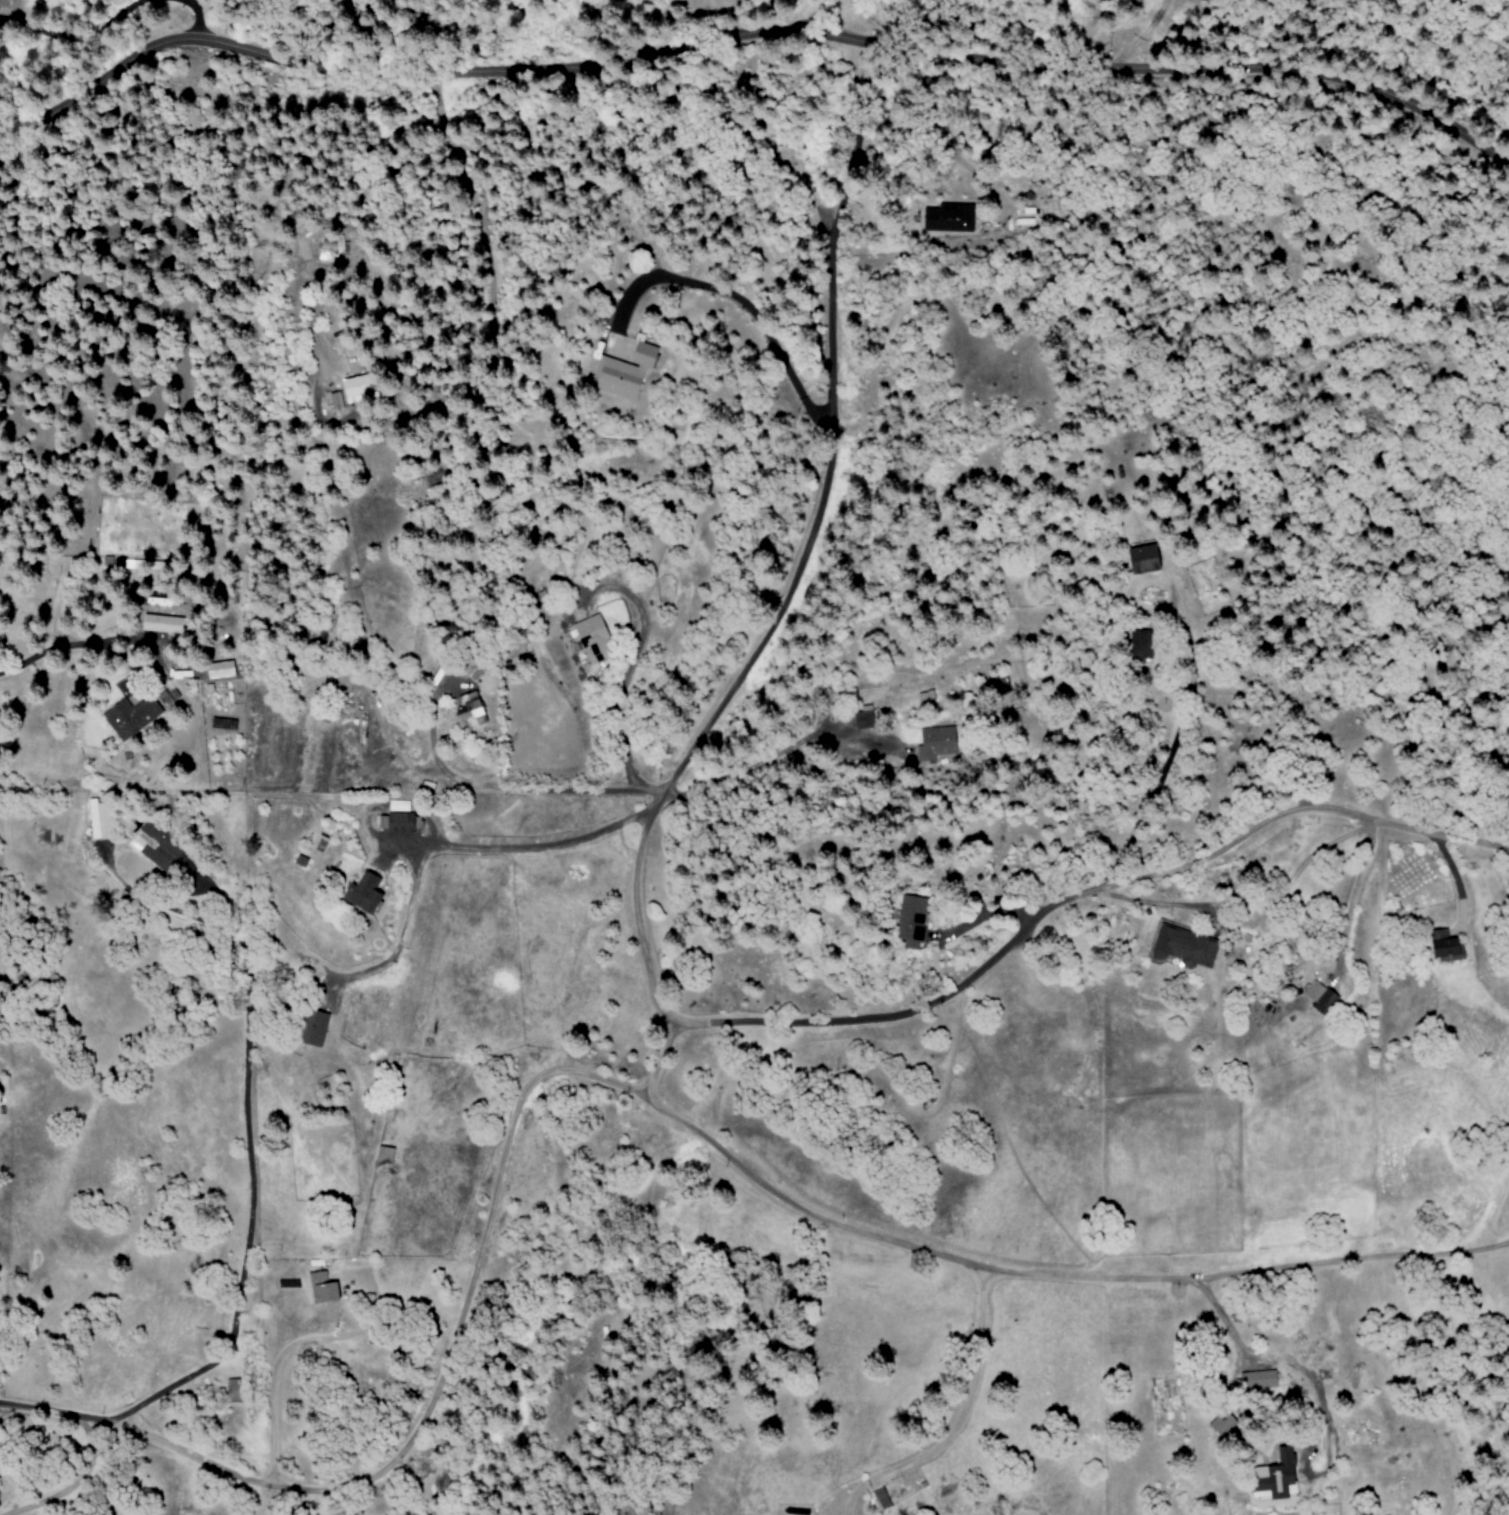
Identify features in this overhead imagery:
road: (747, 34)
building: (950, 217)
building: (331, 249)
building: (624, 371)
building: (359, 387)
building: (335, 399)
building: (1145, 558)
road: (793, 587)
building: (162, 624)
building: (594, 638)
building: (1142, 644)
building: (476, 667)
road: (622, 668)
building: (220, 670)
building: (925, 697)
building: (472, 709)
building: (131, 716)
building: (864, 718)
building: (936, 743)
road: (771, 753)
road: (1166, 763)
road: (500, 787)
building: (401, 817)
building: (156, 846)
road: (533, 848)
building: (301, 861)
building: (364, 893)
road: (1086, 895)
building: (913, 919)
building: (1187, 946)
building: (1445, 947)
building: (1320, 996)
building: (314, 1028)
road: (626, 1085)
building: (384, 1155)
road: (252, 1183)
building: (323, 1288)
road: (294, 1348)
road: (1270, 1360)
building: (1262, 1379)
building: (234, 1390)
road: (960, 1420)
building: (1224, 1425)
building: (883, 1499)

